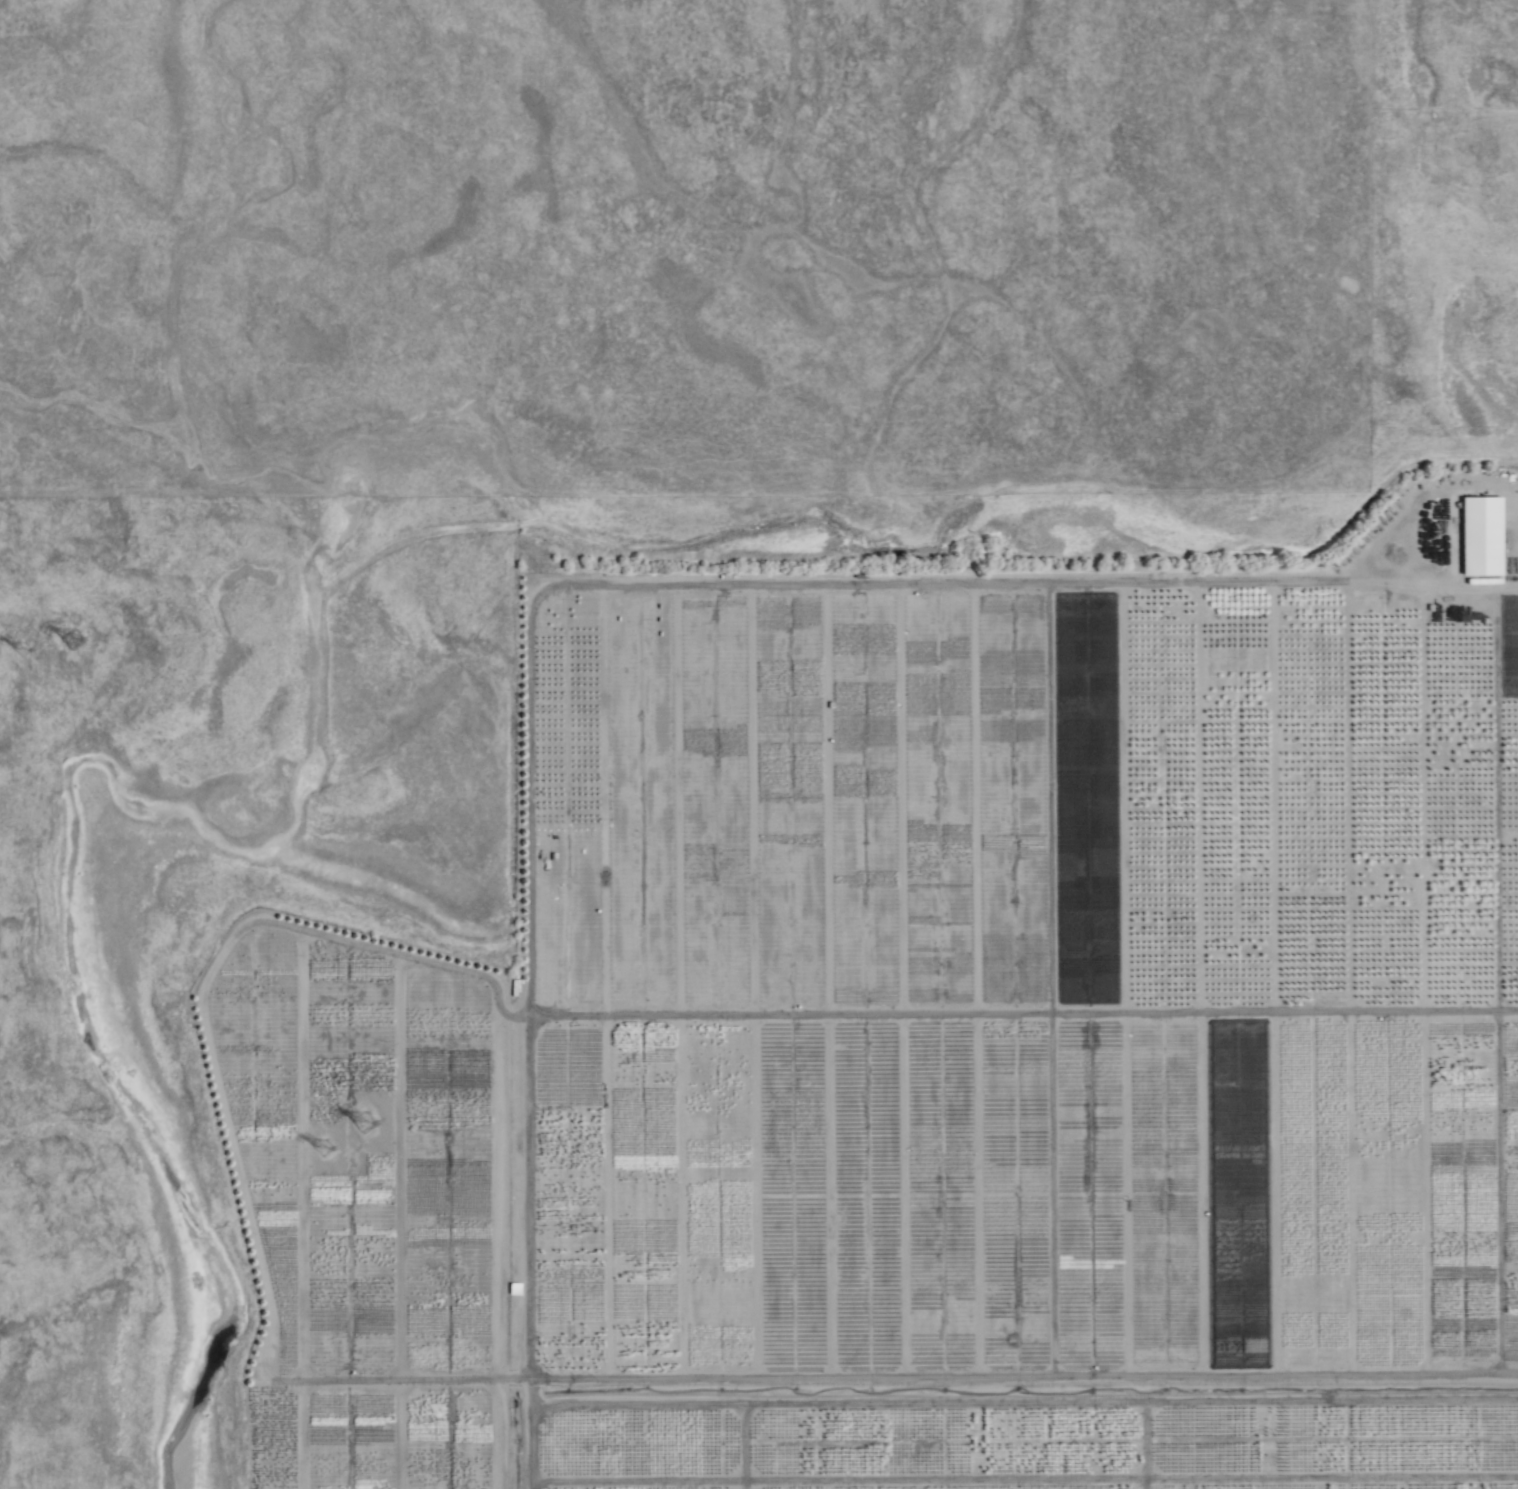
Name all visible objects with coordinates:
building: (1476, 537)
power tower: (69, 640)
power tower: (21, 653)
power tower: (360, 1123)
power tower: (320, 1147)

